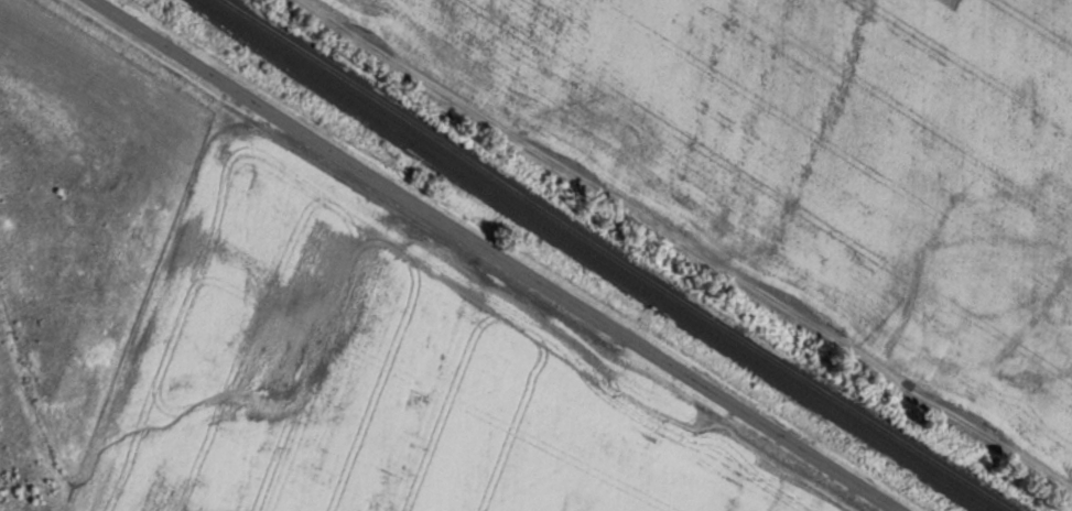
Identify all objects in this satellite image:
road: (684, 242)
road: (496, 255)
railway: (591, 257)
railway: (615, 258)

